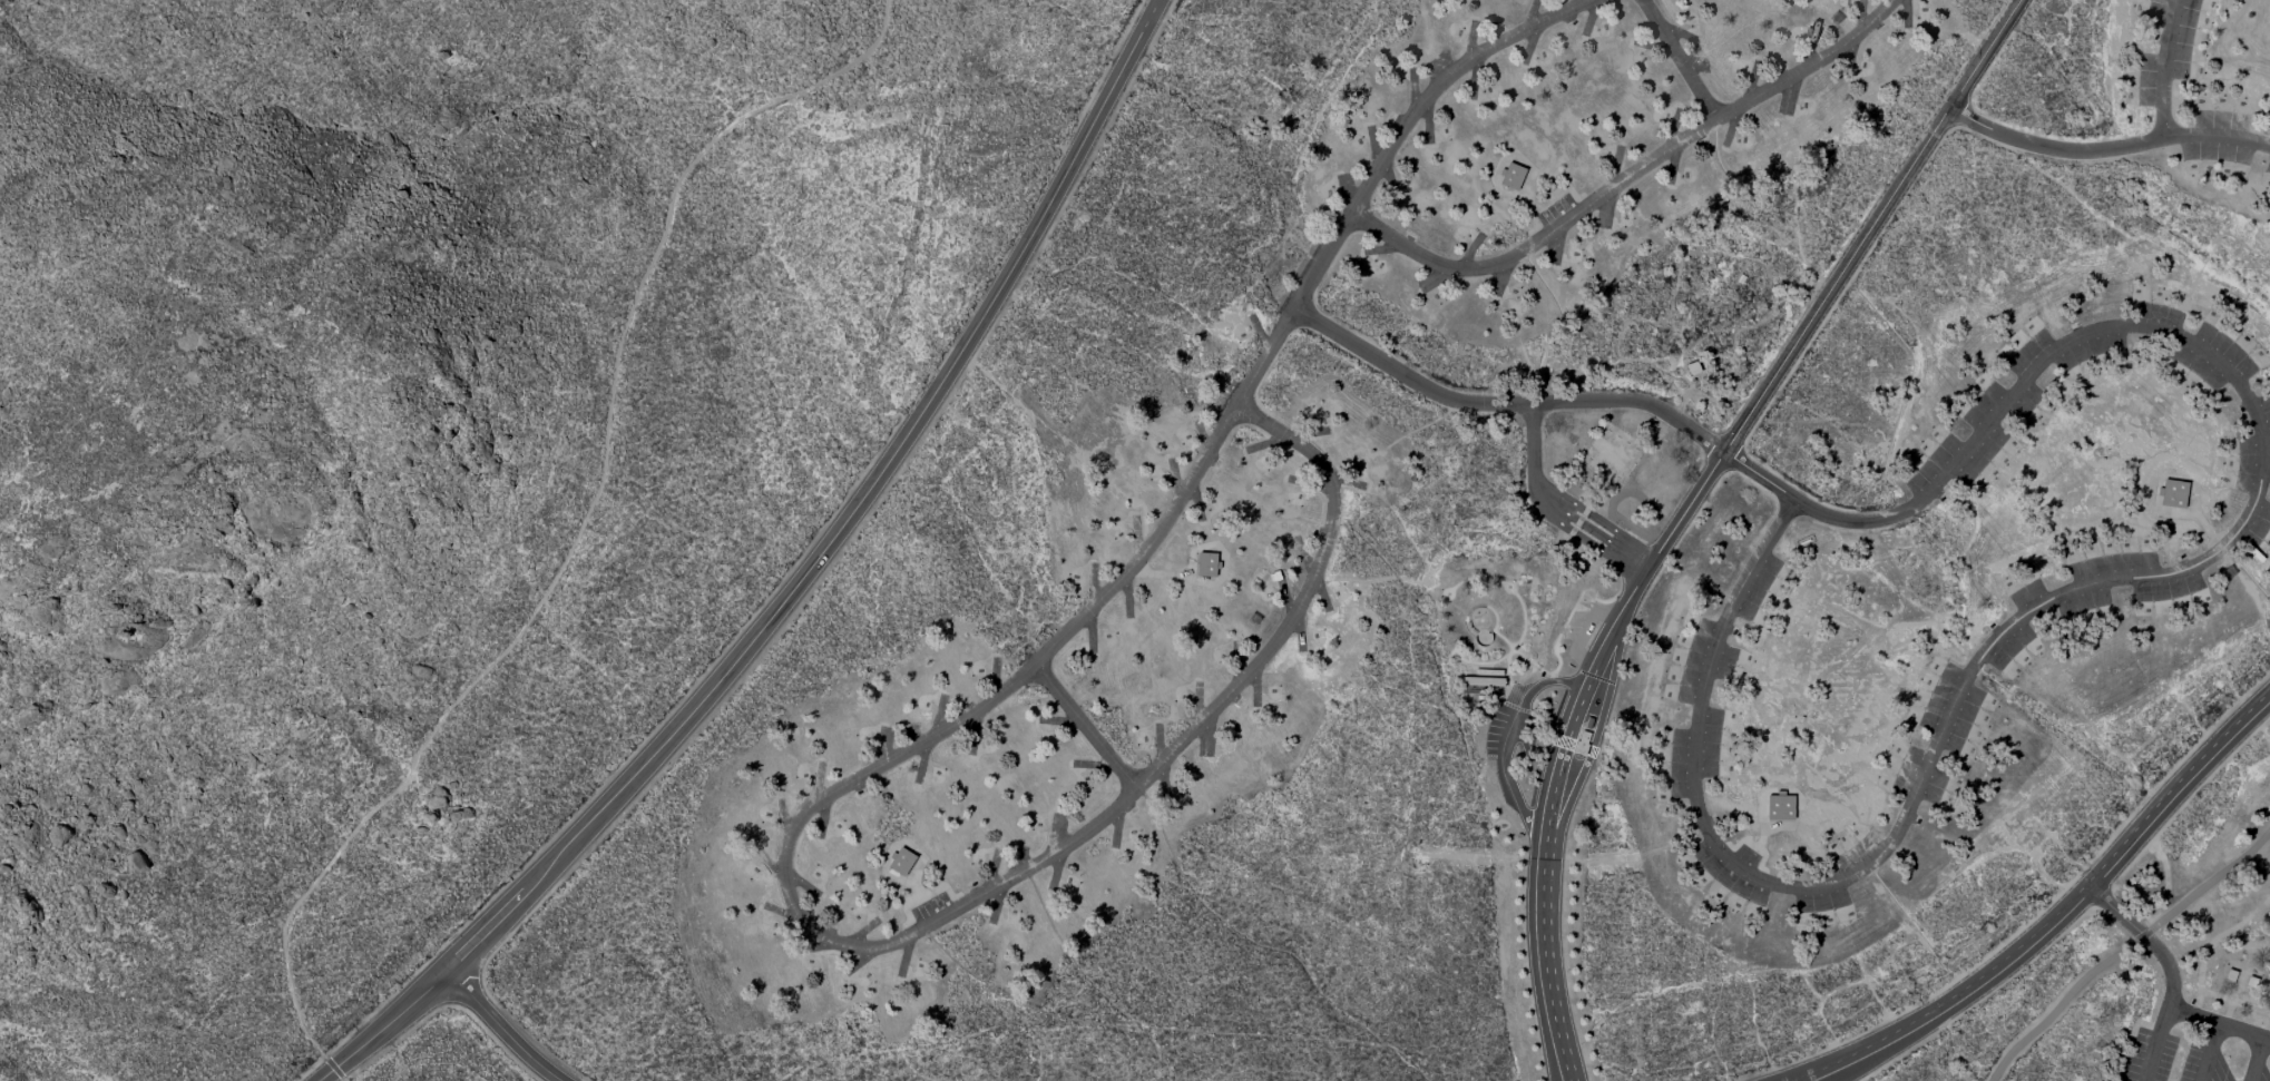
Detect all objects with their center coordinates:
road: (1679, 60)
road: (2165, 63)
road: (1447, 78)
road: (2215, 136)
road: (2054, 141)
building: (1511, 175)
road: (1630, 175)
road: (2041, 364)
road: (1493, 406)
building: (2173, 493)
road: (1556, 502)
road: (1684, 505)
road: (576, 535)
building: (1206, 563)
road: (1162, 573)
road: (789, 582)
building: (1483, 680)
road: (1086, 727)
road: (1507, 741)
building: (1780, 805)
road: (1879, 845)
building: (901, 861)
road: (2058, 914)
road: (823, 928)
road: (2126, 951)
road: (2170, 969)
building: (2230, 975)
building: (2250, 982)
road: (904, 1012)
road: (2194, 1015)
road: (2215, 1028)
road: (507, 1029)
road: (2268, 1036)
parking lot: (2185, 1055)
road: (2260, 1059)

